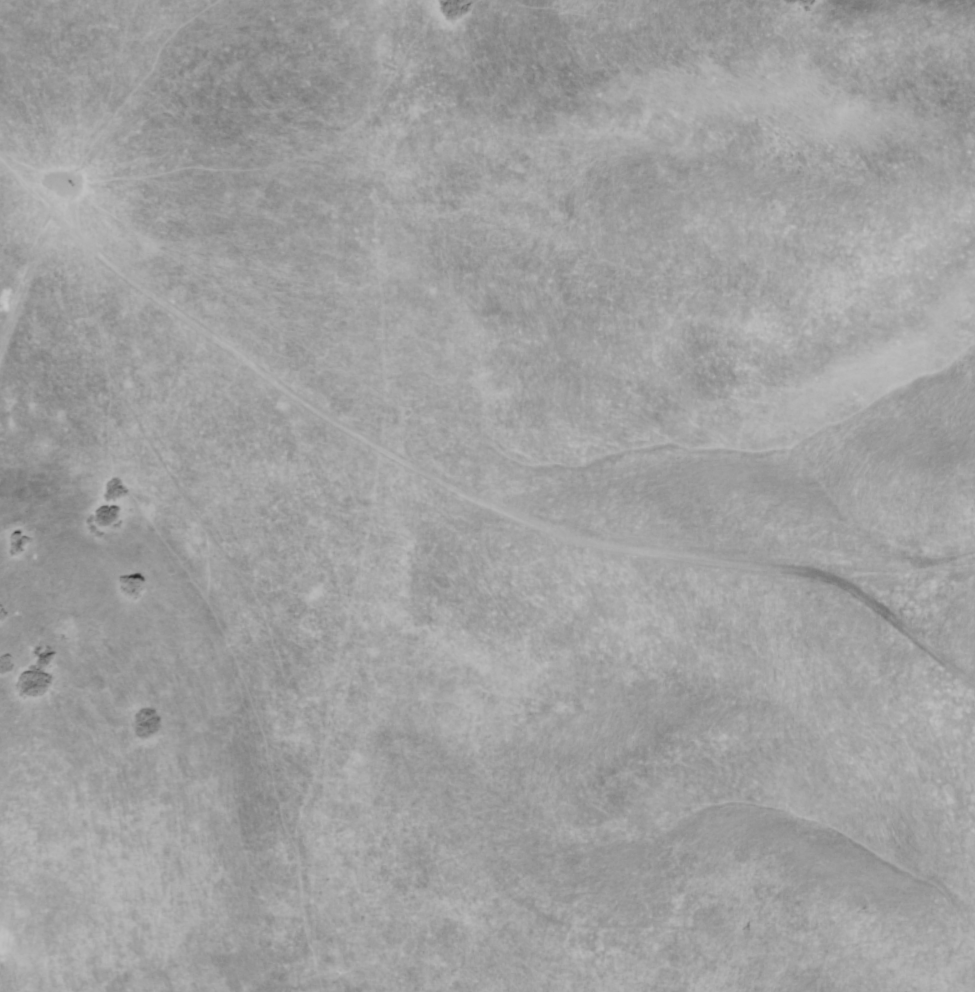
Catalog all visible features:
road: (454, 496)

